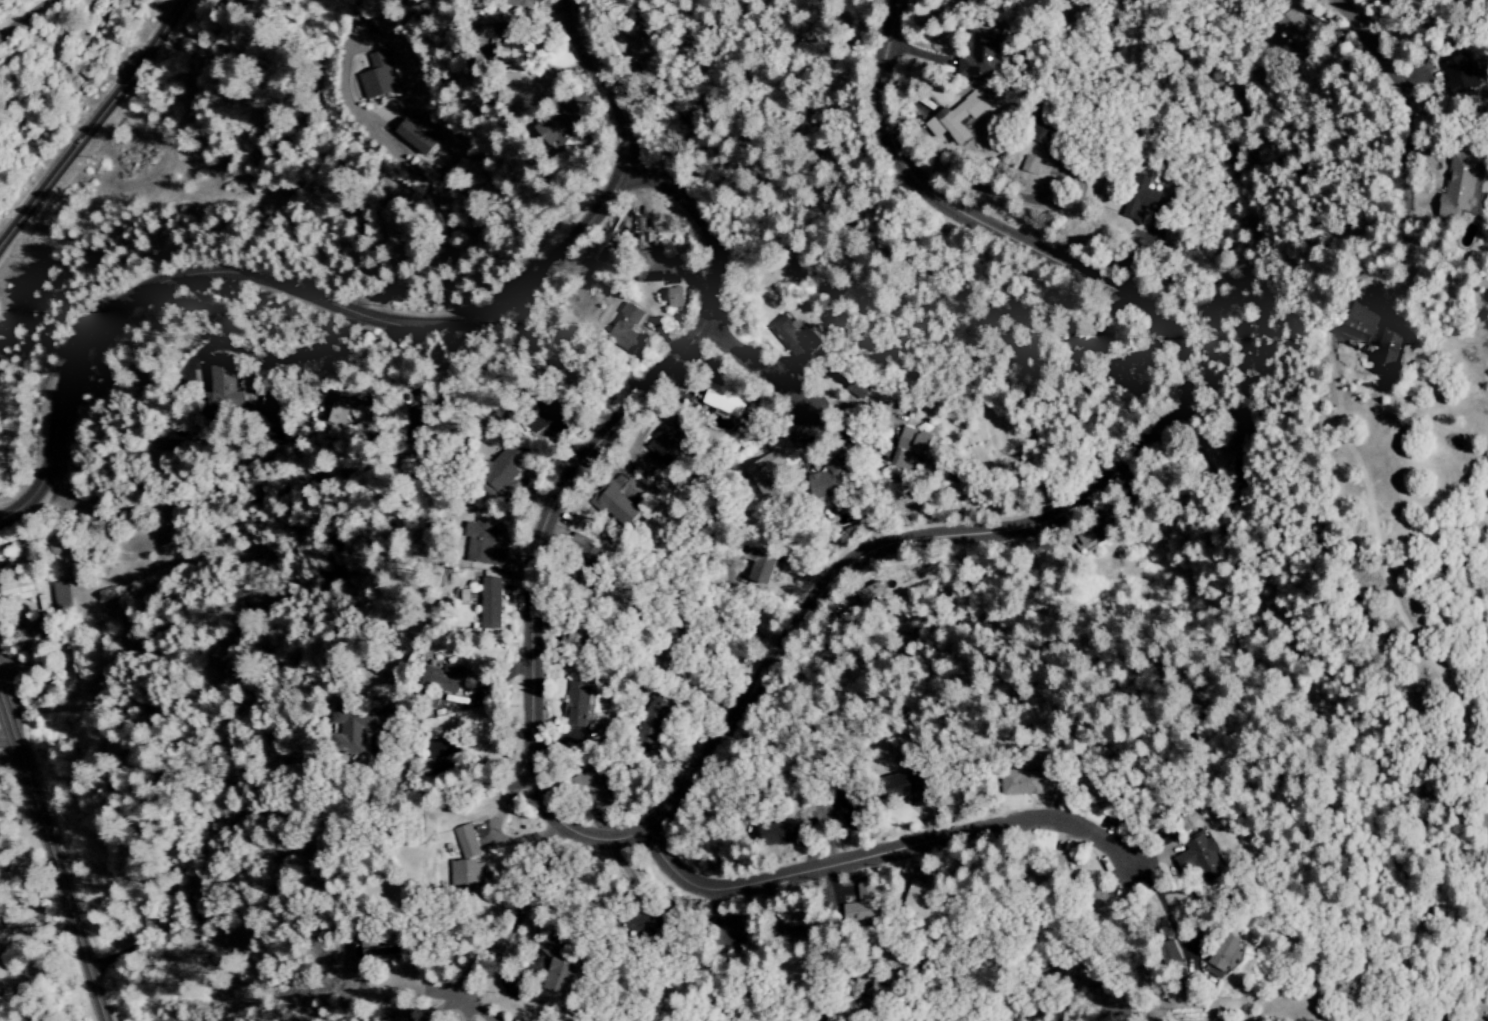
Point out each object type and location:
building: (966, 0)
building: (529, 3)
road: (26, 18)
building: (1297, 34)
building: (521, 49)
road: (1369, 49)
building: (978, 62)
building: (1465, 74)
building: (378, 77)
road: (608, 80)
building: (956, 118)
road: (383, 119)
road: (92, 123)
building: (562, 128)
building: (1043, 132)
building: (415, 138)
road: (1420, 157)
building: (1030, 164)
road: (414, 175)
building: (1470, 187)
building: (1140, 199)
road: (645, 201)
road: (1398, 206)
building: (656, 265)
road: (278, 287)
building: (674, 297)
building: (632, 326)
building: (1367, 326)
building: (793, 340)
building: (1397, 350)
road: (273, 358)
road: (765, 370)
building: (859, 386)
building: (227, 389)
building: (722, 397)
building: (338, 410)
building: (553, 417)
building: (1234, 435)
building: (911, 445)
building: (507, 461)
building: (767, 472)
road: (536, 492)
building: (621, 505)
building: (481, 541)
building: (762, 566)
building: (17, 592)
building: (109, 593)
building: (69, 596)
building: (490, 601)
building: (34, 634)
road: (771, 657)
building: (445, 676)
building: (575, 701)
building: (359, 726)
road: (6, 742)
building: (443, 747)
building: (907, 785)
building: (856, 811)
building: (786, 833)
building: (467, 842)
road: (877, 855)
building: (1210, 859)
road: (51, 861)
building: (469, 874)
building: (928, 894)
building: (869, 907)
building: (15, 916)
building: (645, 922)
building: (803, 930)
building: (738, 931)
road: (503, 932)
building: (4, 941)
road: (1178, 949)
building: (374, 952)
building: (1232, 957)
road: (108, 959)
building: (561, 978)
road: (512, 983)
road: (422, 993)
road: (443, 1008)
road: (466, 1014)

